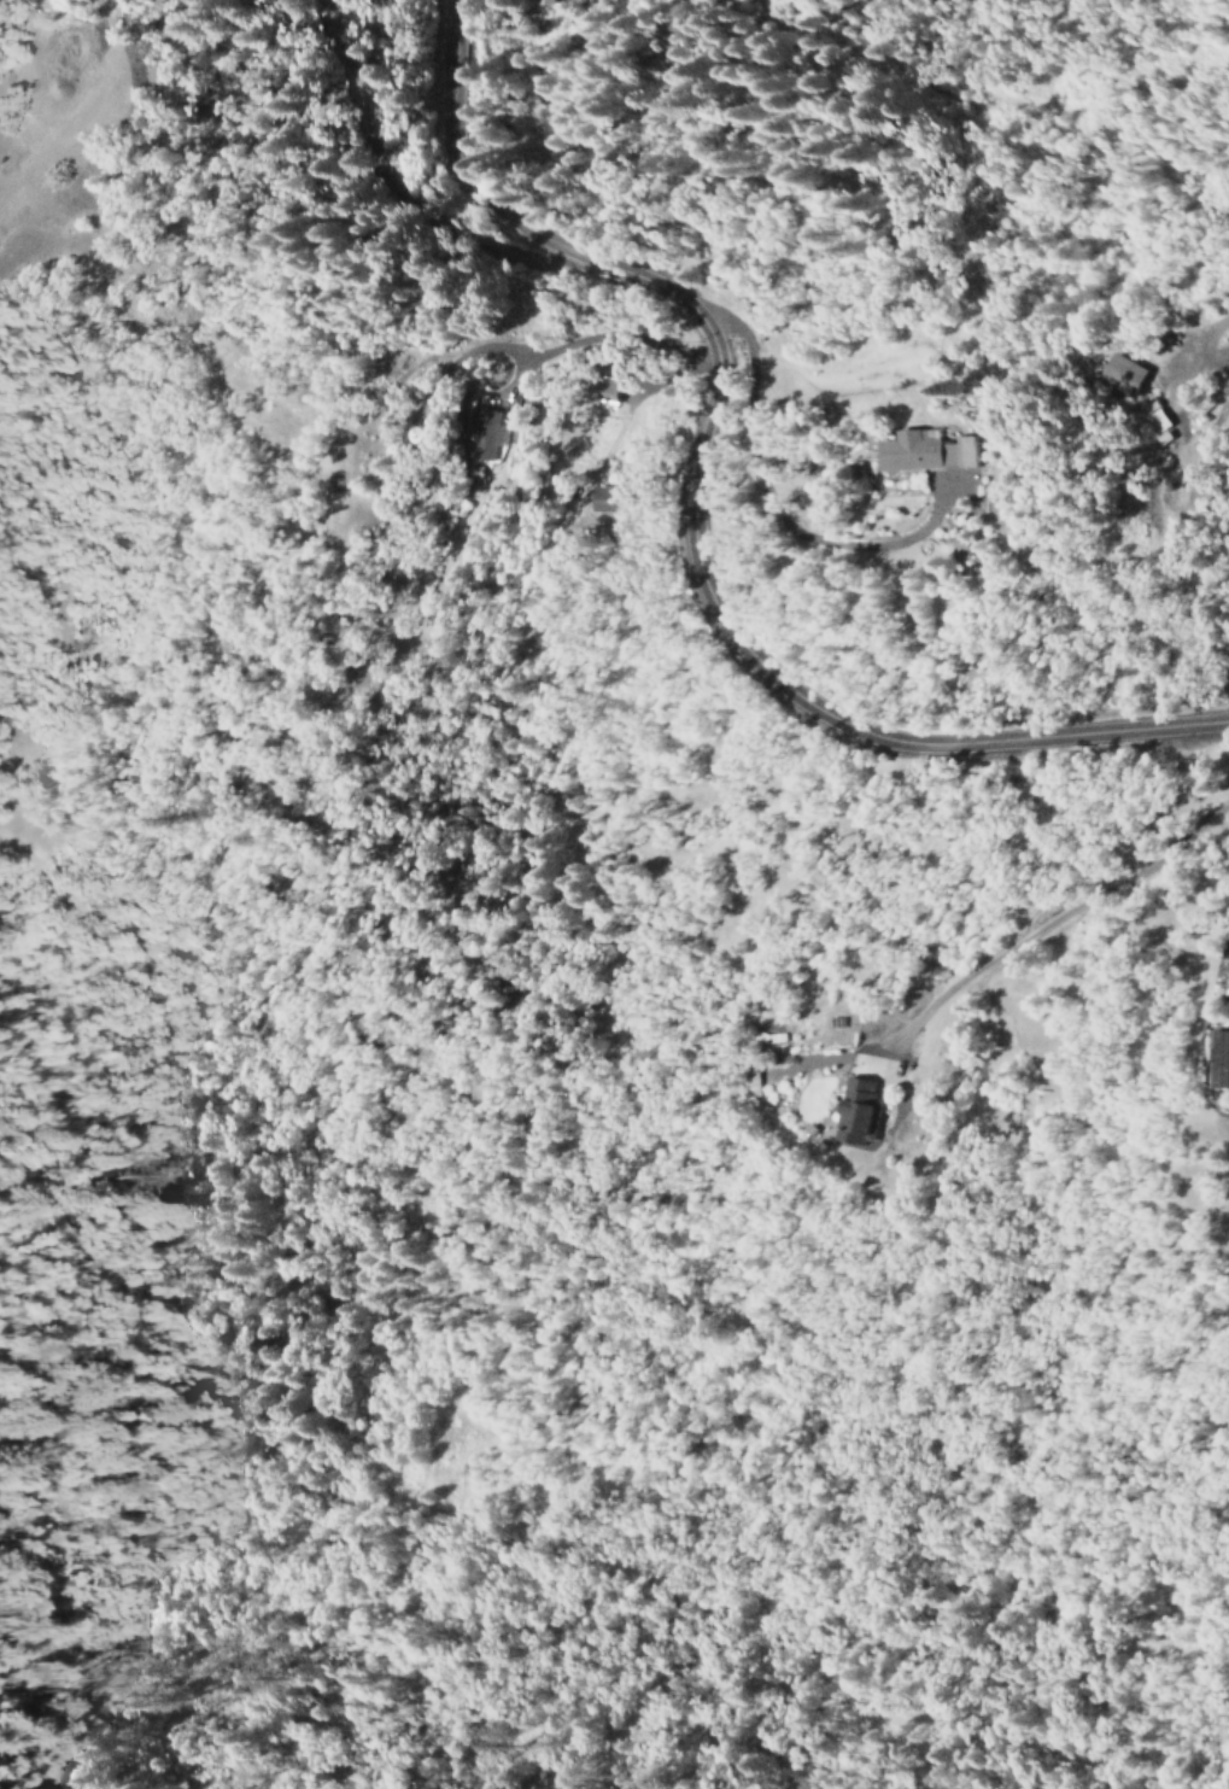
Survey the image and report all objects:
building: (546, 1)
road: (400, 195)
road: (601, 341)
road: (467, 356)
building: (1117, 373)
building: (1152, 422)
building: (485, 434)
building: (885, 445)
building: (936, 445)
building: (599, 499)
road: (695, 522)
building: (934, 556)
road: (1047, 926)
building: (1217, 1058)
building: (853, 1111)

